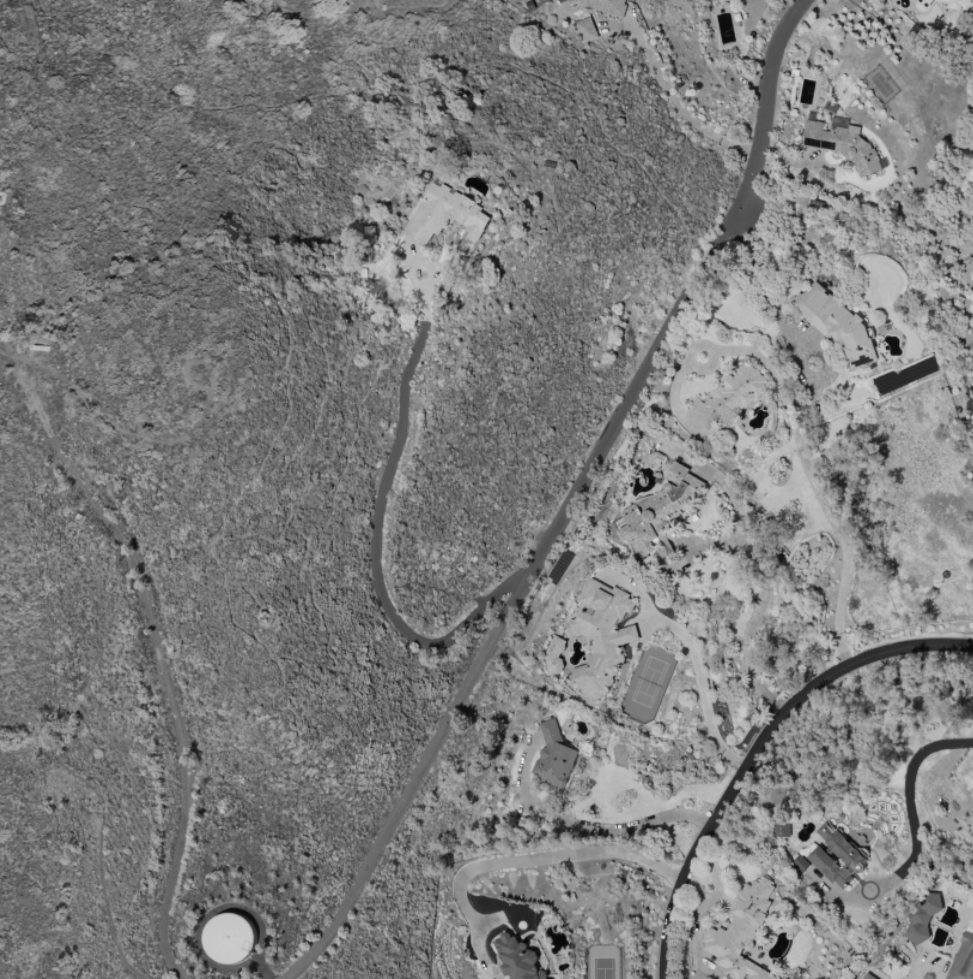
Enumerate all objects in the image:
building: (733, 0)
building: (922, 3)
building: (957, 4)
building: (590, 7)
building: (585, 30)
road: (678, 106)
building: (841, 140)
building: (446, 214)
building: (835, 323)
road: (5, 362)
building: (728, 397)
road: (35, 403)
road: (815, 486)
road: (573, 501)
building: (657, 509)
road: (378, 530)
road: (764, 565)
building: (601, 637)
building: (553, 656)
road: (700, 691)
road: (171, 699)
road: (757, 747)
building: (554, 758)
road: (904, 795)
road: (588, 827)
building: (781, 829)
road: (520, 860)
building: (922, 917)
building: (741, 934)
building: (230, 939)
building: (963, 956)
building: (517, 959)
building: (867, 976)

